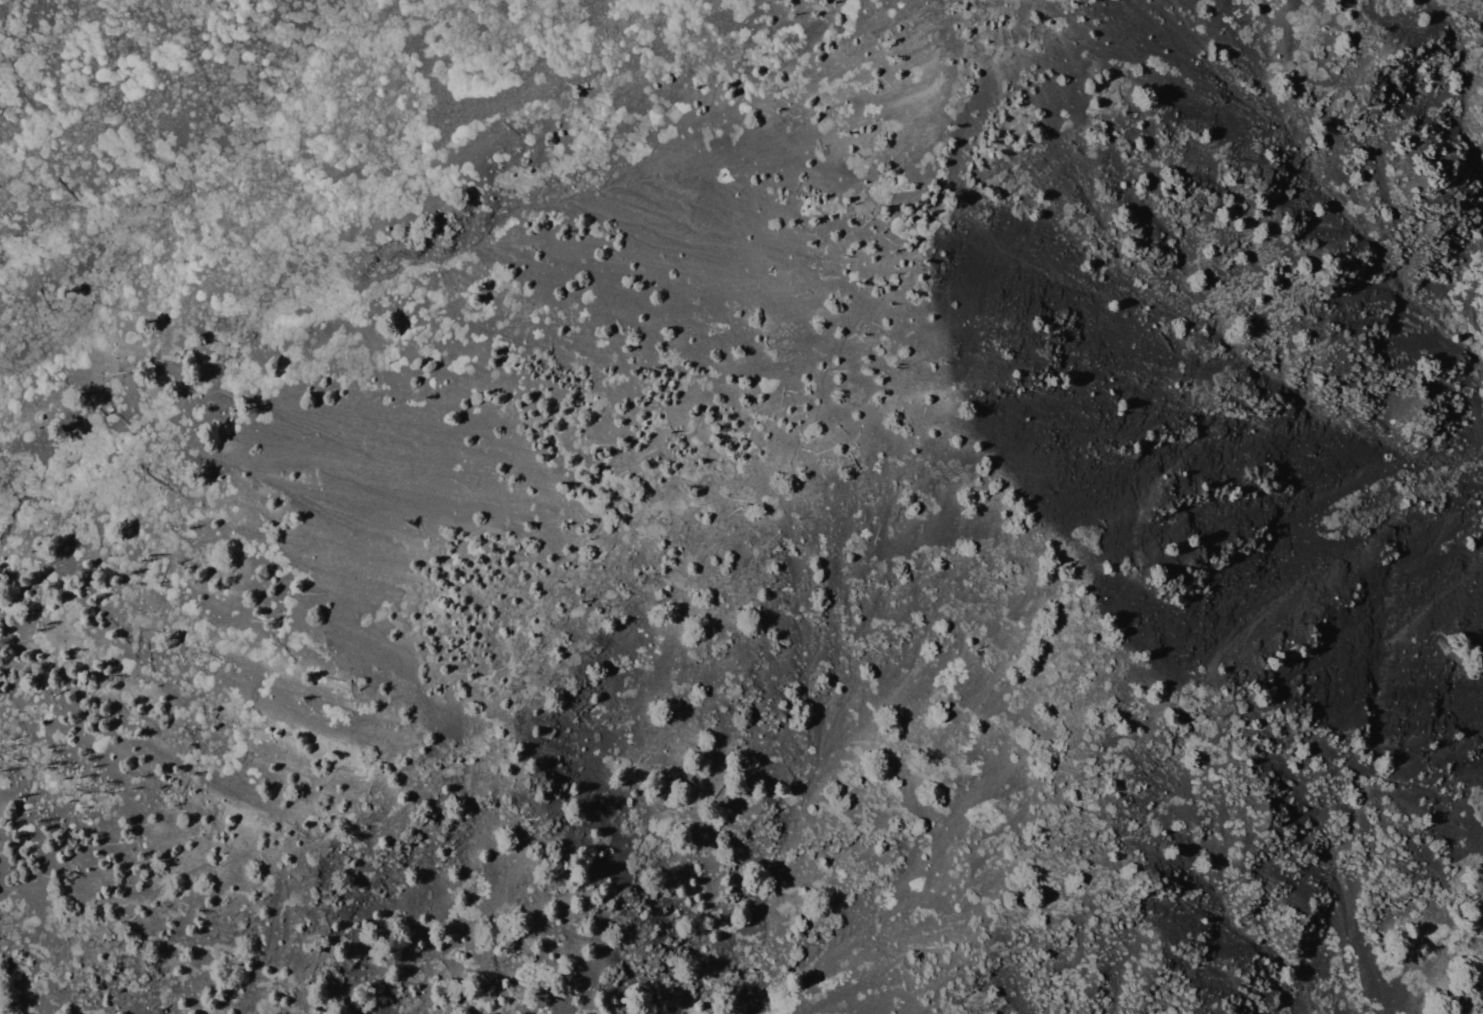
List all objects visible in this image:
road: (959, 46)
road: (587, 558)

